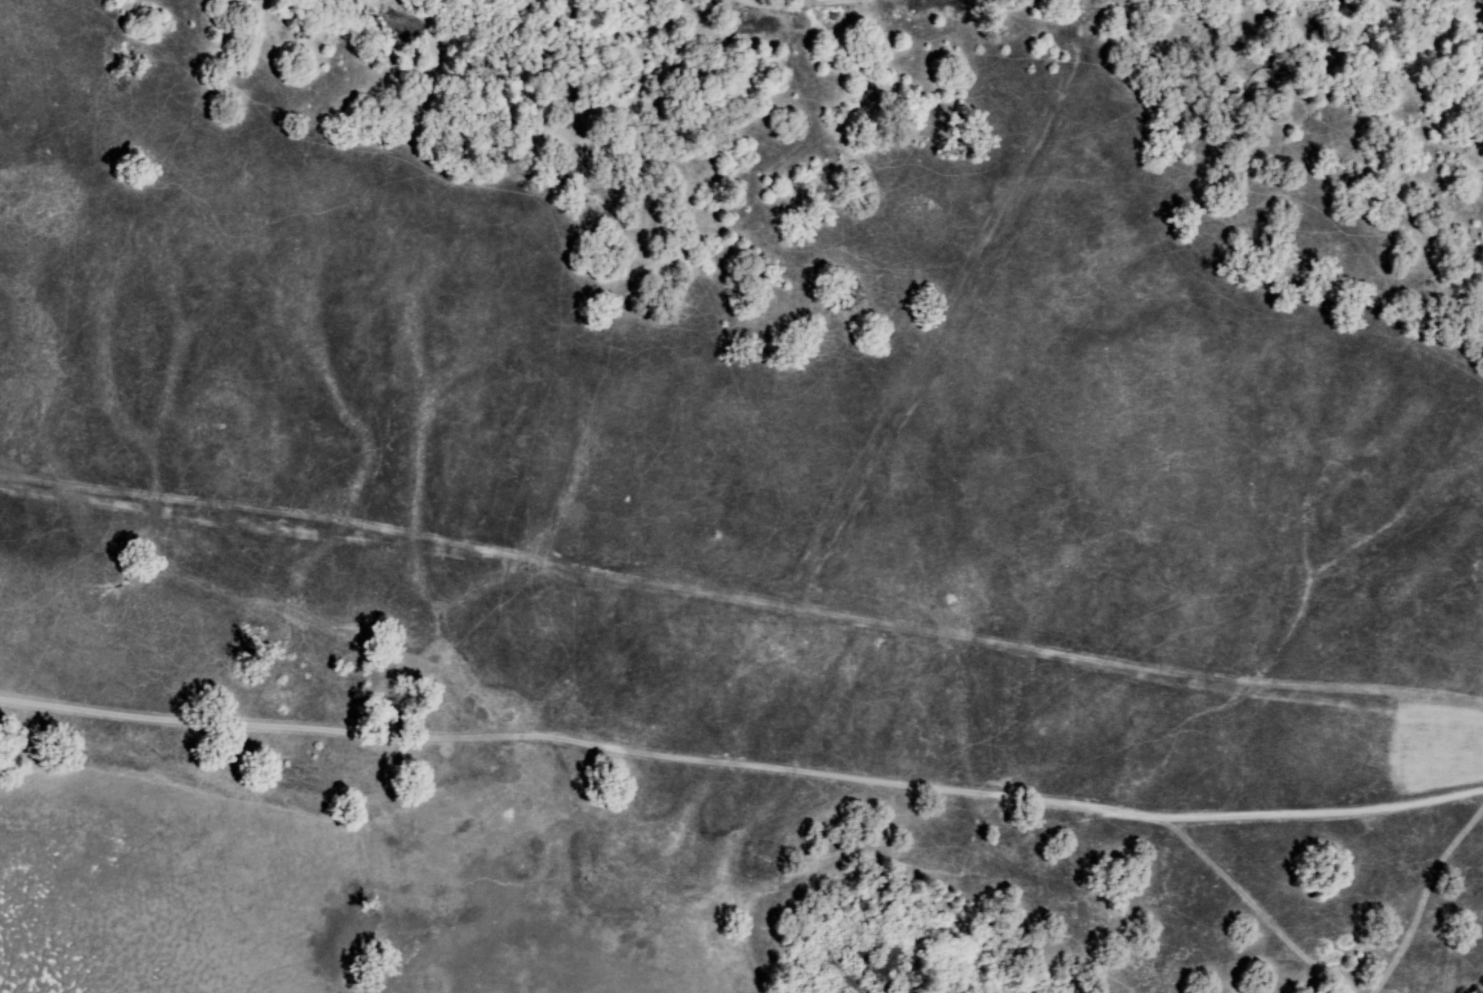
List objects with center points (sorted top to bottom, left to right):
road: (804, 7)
road: (741, 769)

